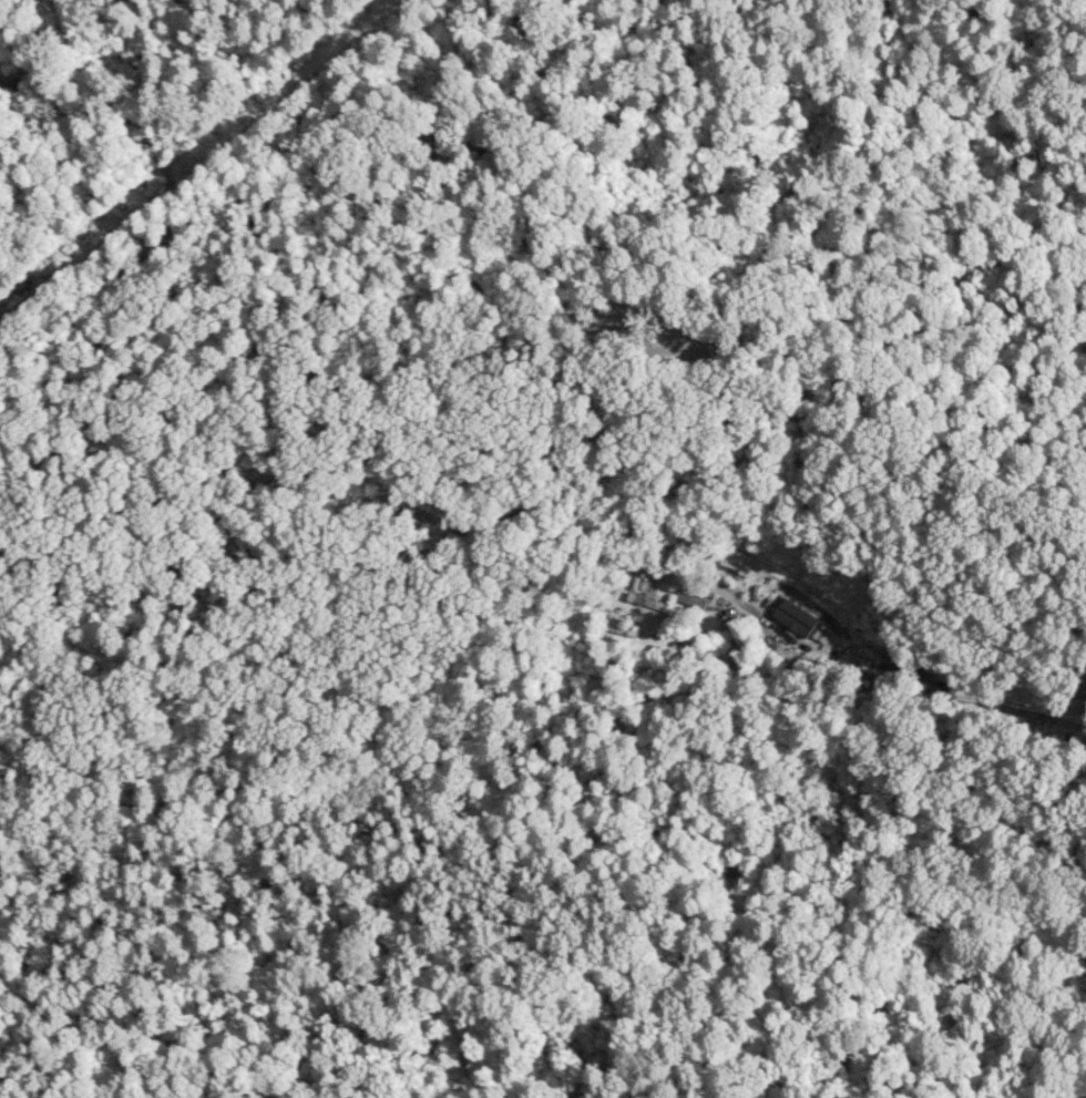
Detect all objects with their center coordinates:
road: (577, 553)
road: (16, 561)
building: (685, 601)
building: (643, 603)
building: (789, 612)

